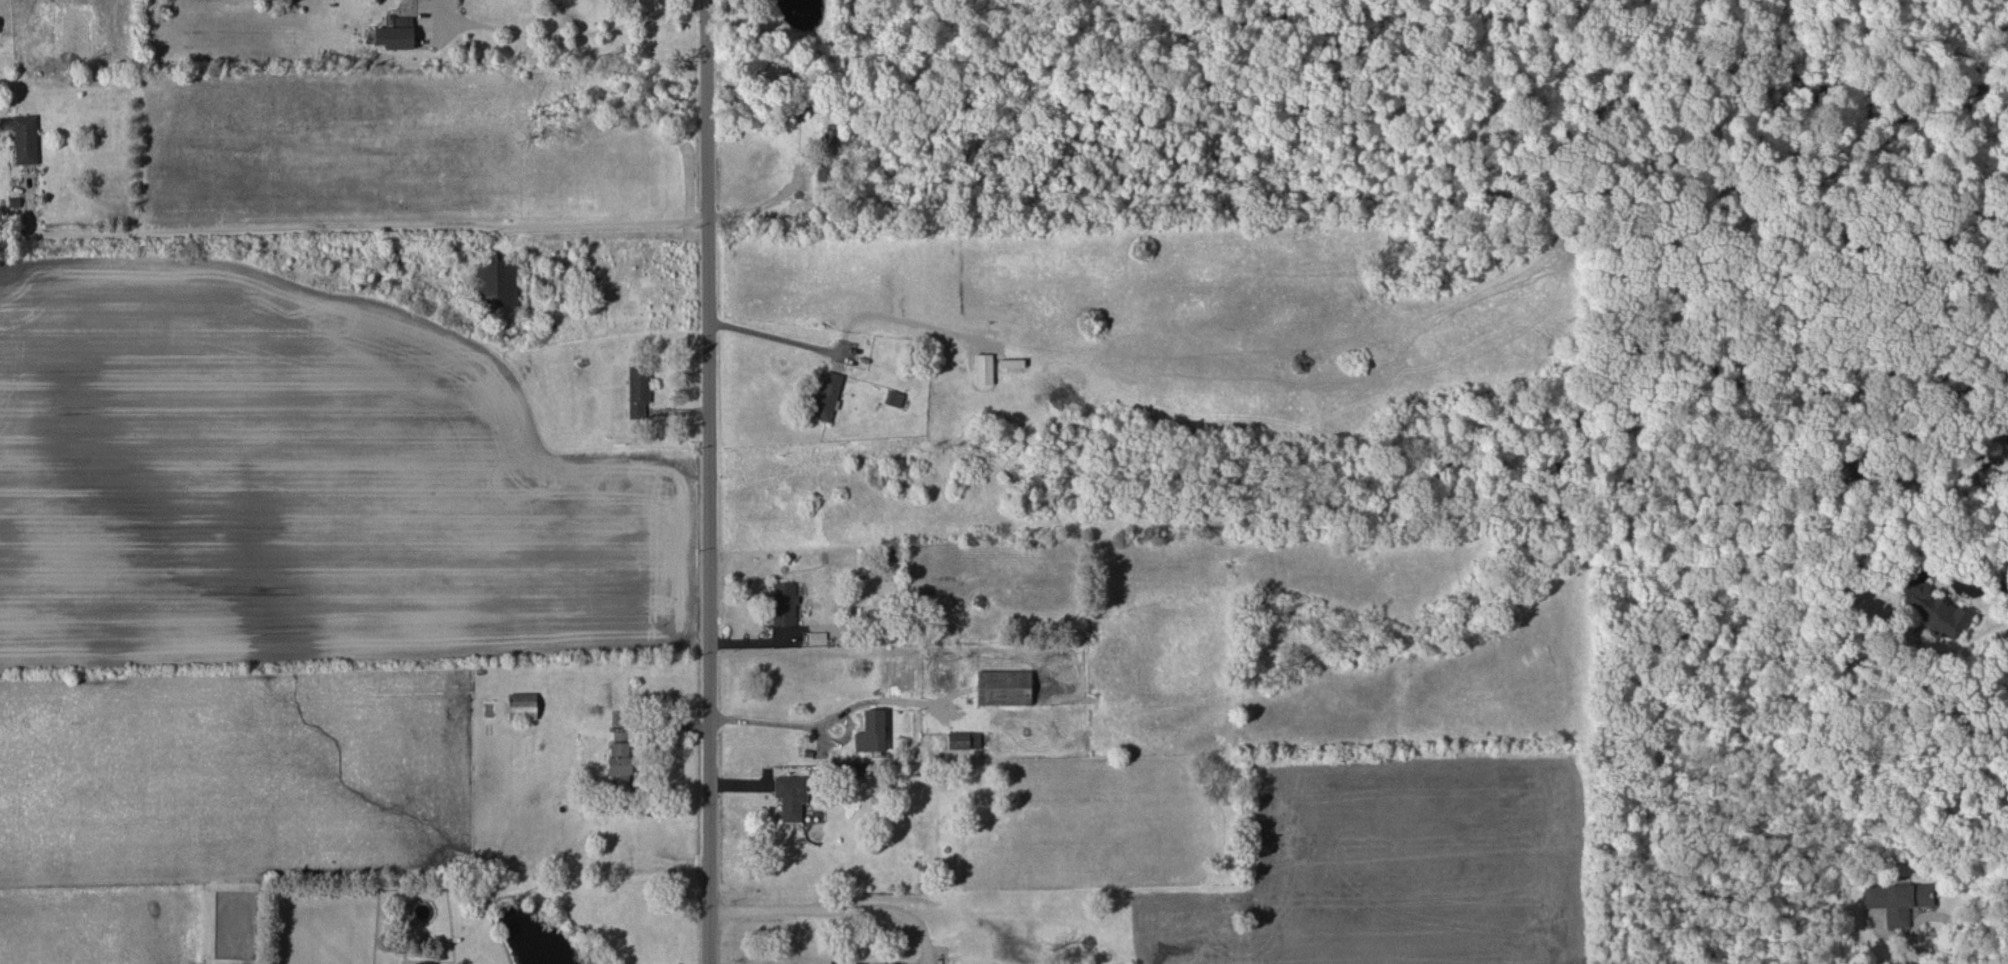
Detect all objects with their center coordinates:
building: (396, 34)
road: (568, 34)
building: (25, 139)
road: (367, 228)
building: (497, 286)
road: (903, 323)
road: (773, 336)
building: (983, 369)
building: (638, 391)
building: (825, 398)
building: (893, 399)
road: (708, 481)
road: (1956, 586)
building: (1915, 596)
building: (784, 603)
building: (1943, 619)
building: (1003, 688)
building: (522, 706)
road: (773, 723)
building: (871, 732)
building: (968, 741)
building: (619, 765)
building: (790, 796)
building: (1897, 900)
road: (838, 908)
road: (1985, 916)
road: (1912, 940)
road: (818, 960)
building: (425, 963)

